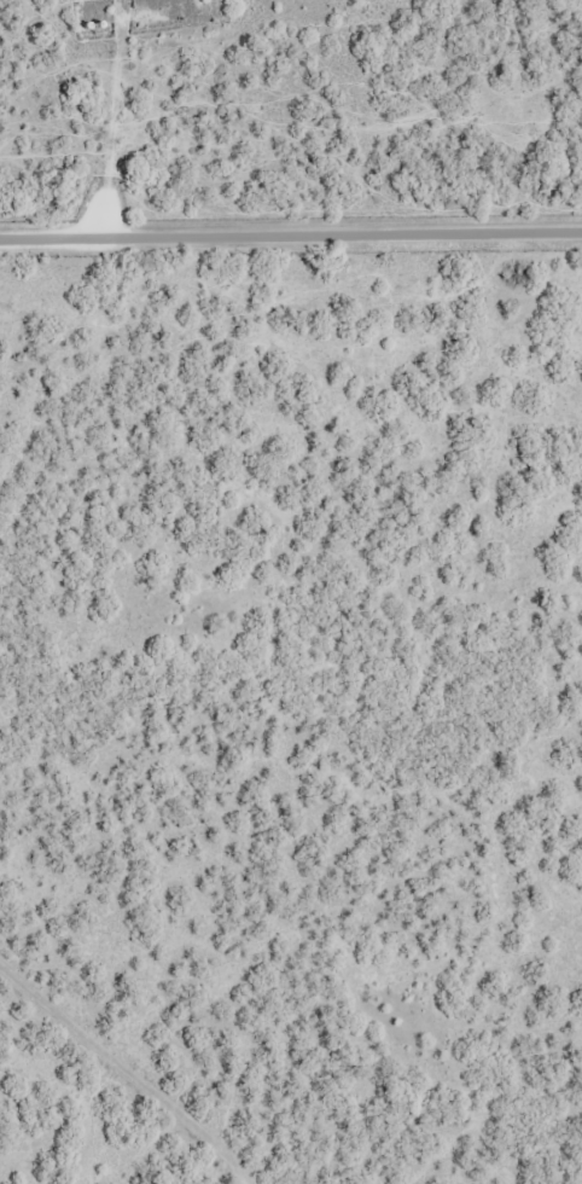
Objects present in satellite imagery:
road: (291, 237)
road: (149, 1049)

